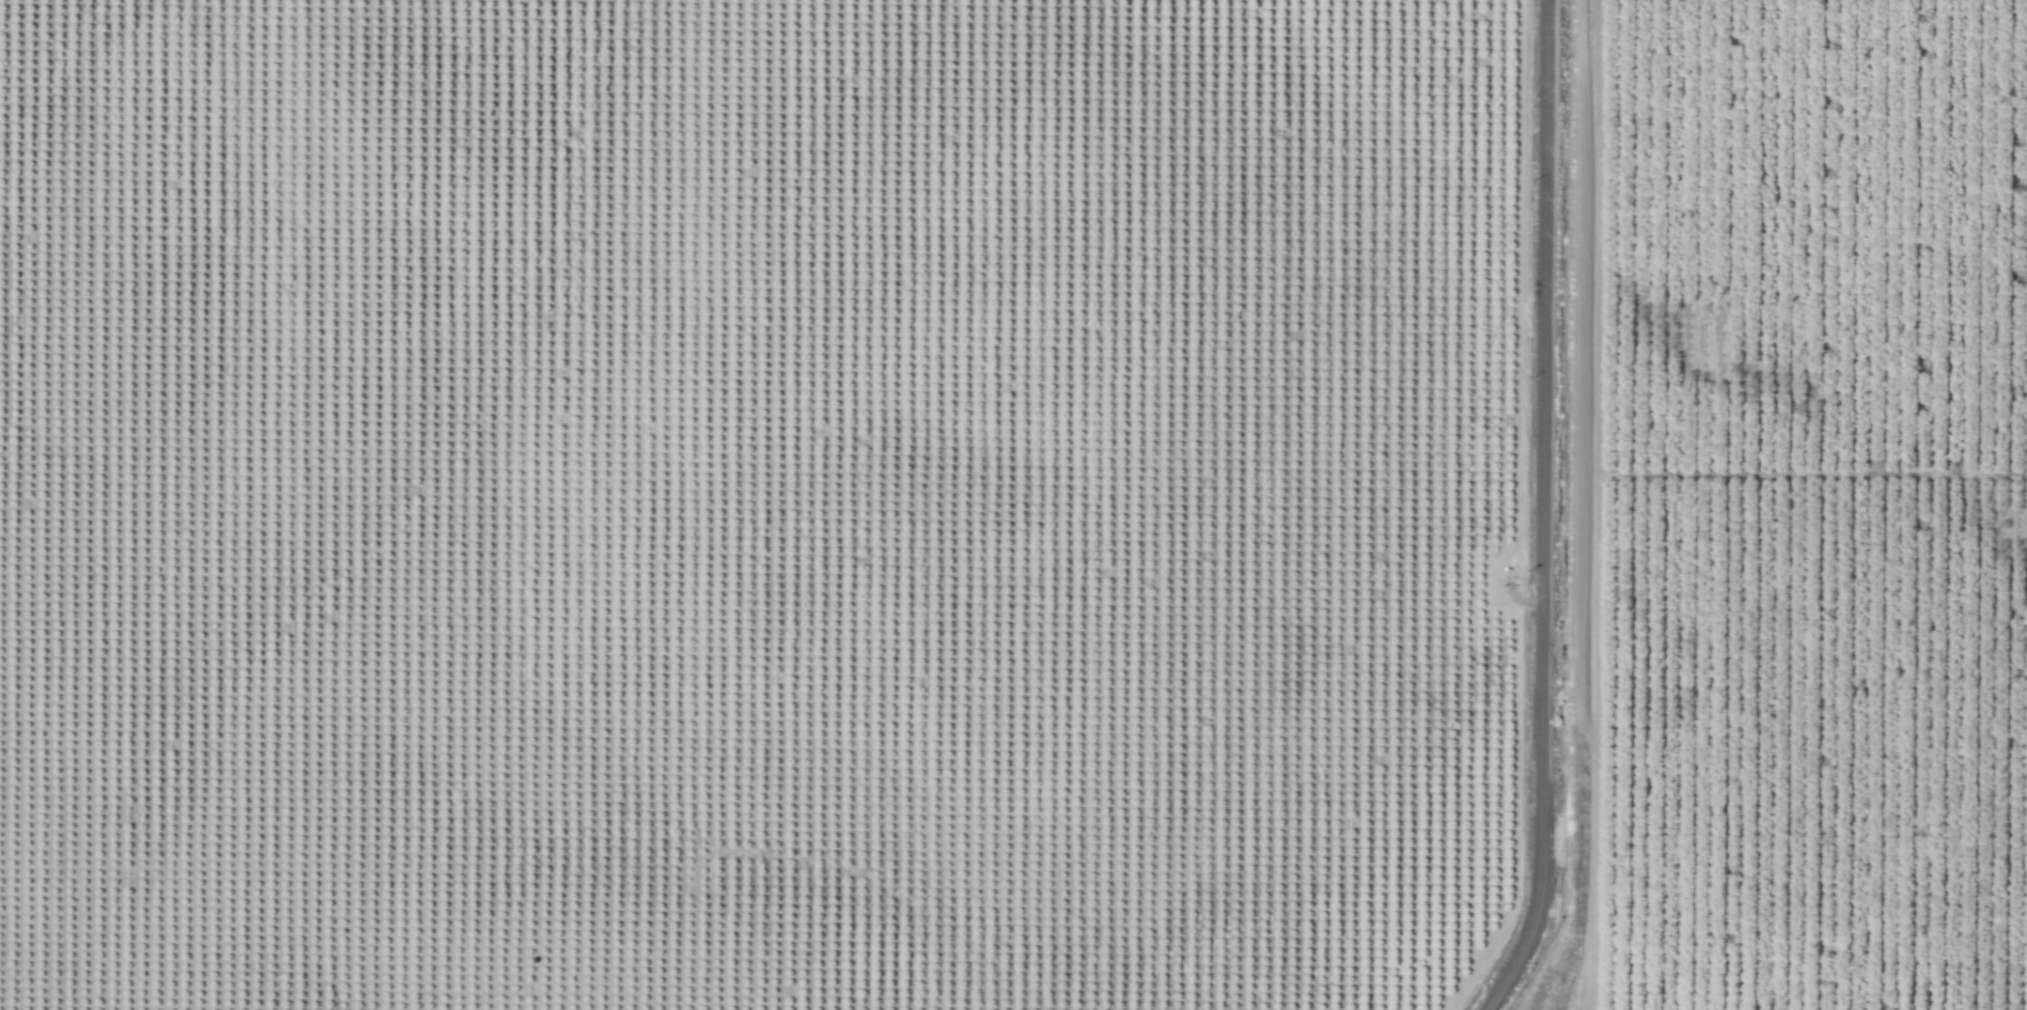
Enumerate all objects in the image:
road: (1542, 511)

